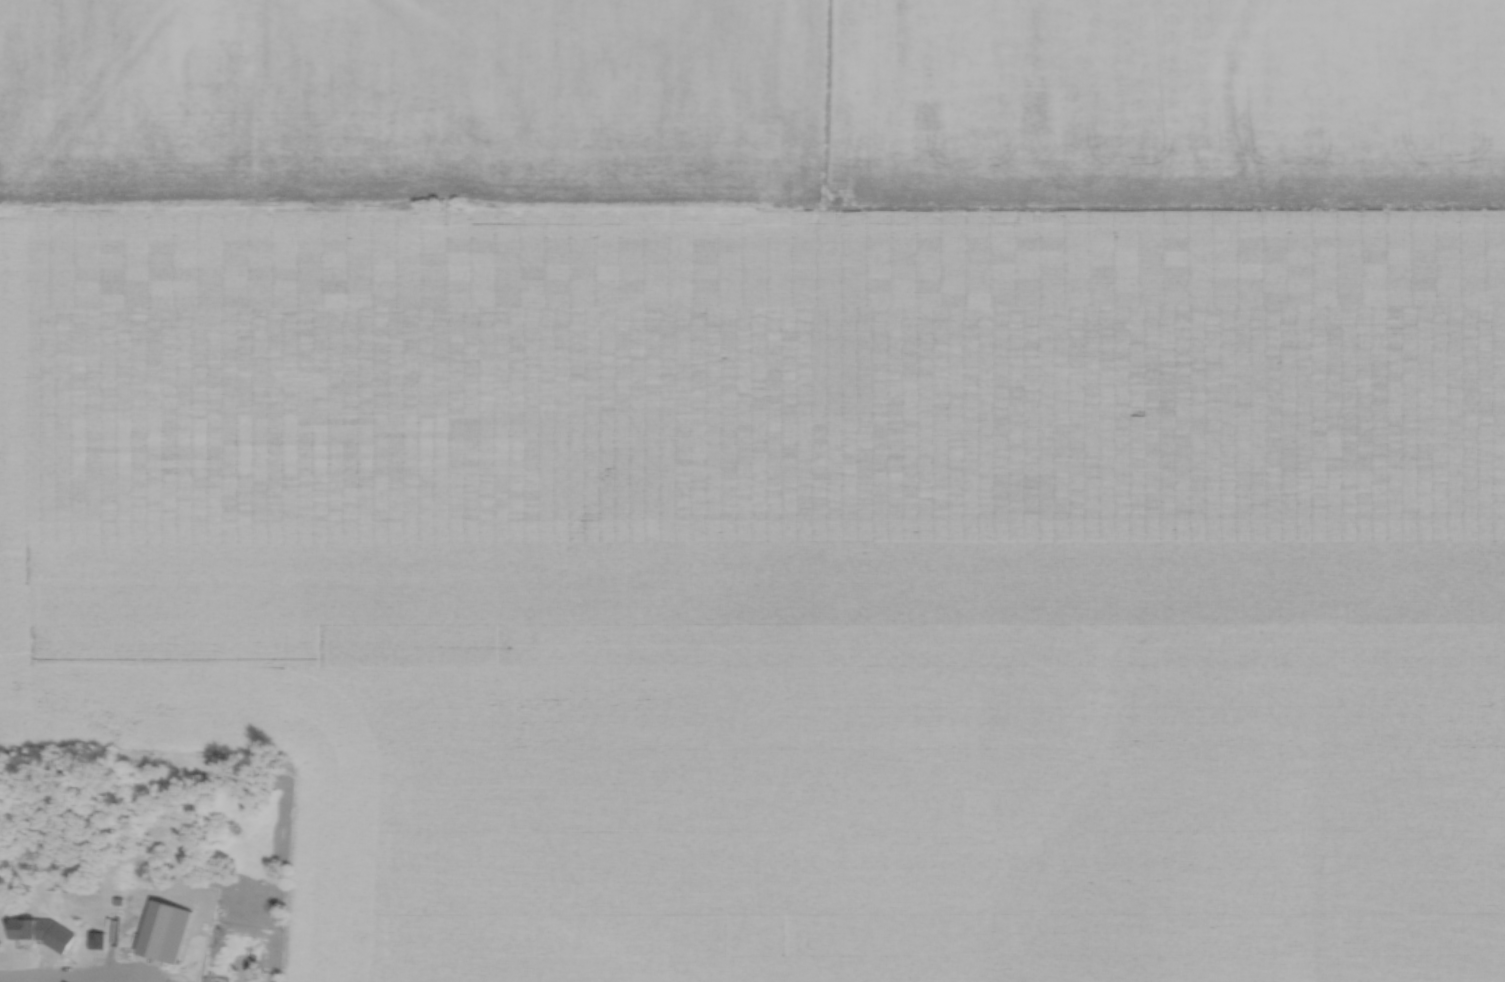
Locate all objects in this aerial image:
building: (25, 927)
building: (164, 930)
building: (96, 938)
road: (18, 979)

